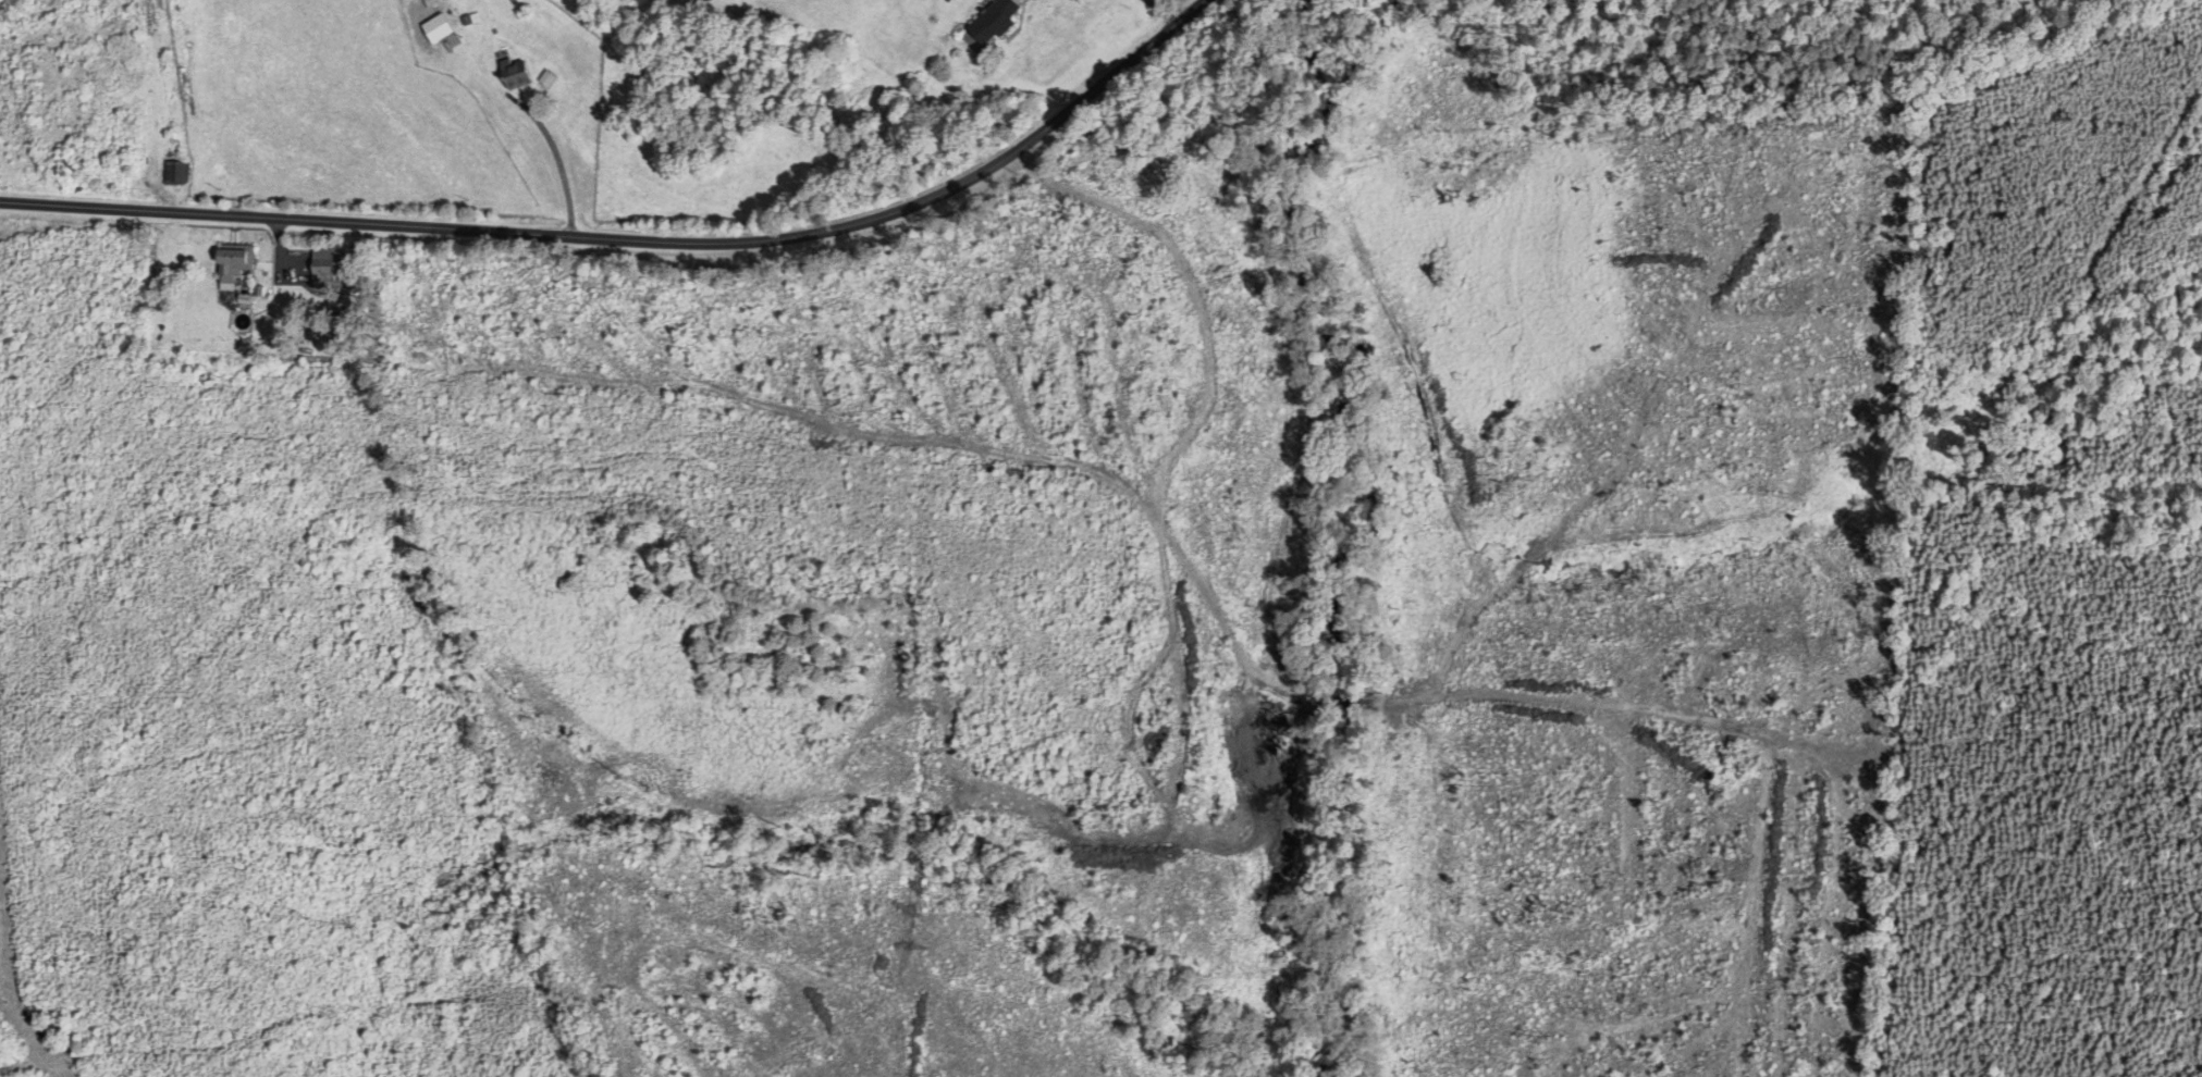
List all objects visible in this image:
road: (1159, 12)
building: (997, 21)
building: (517, 75)
building: (549, 78)
road: (558, 162)
building: (177, 173)
road: (636, 239)
building: (235, 264)
building: (325, 267)

